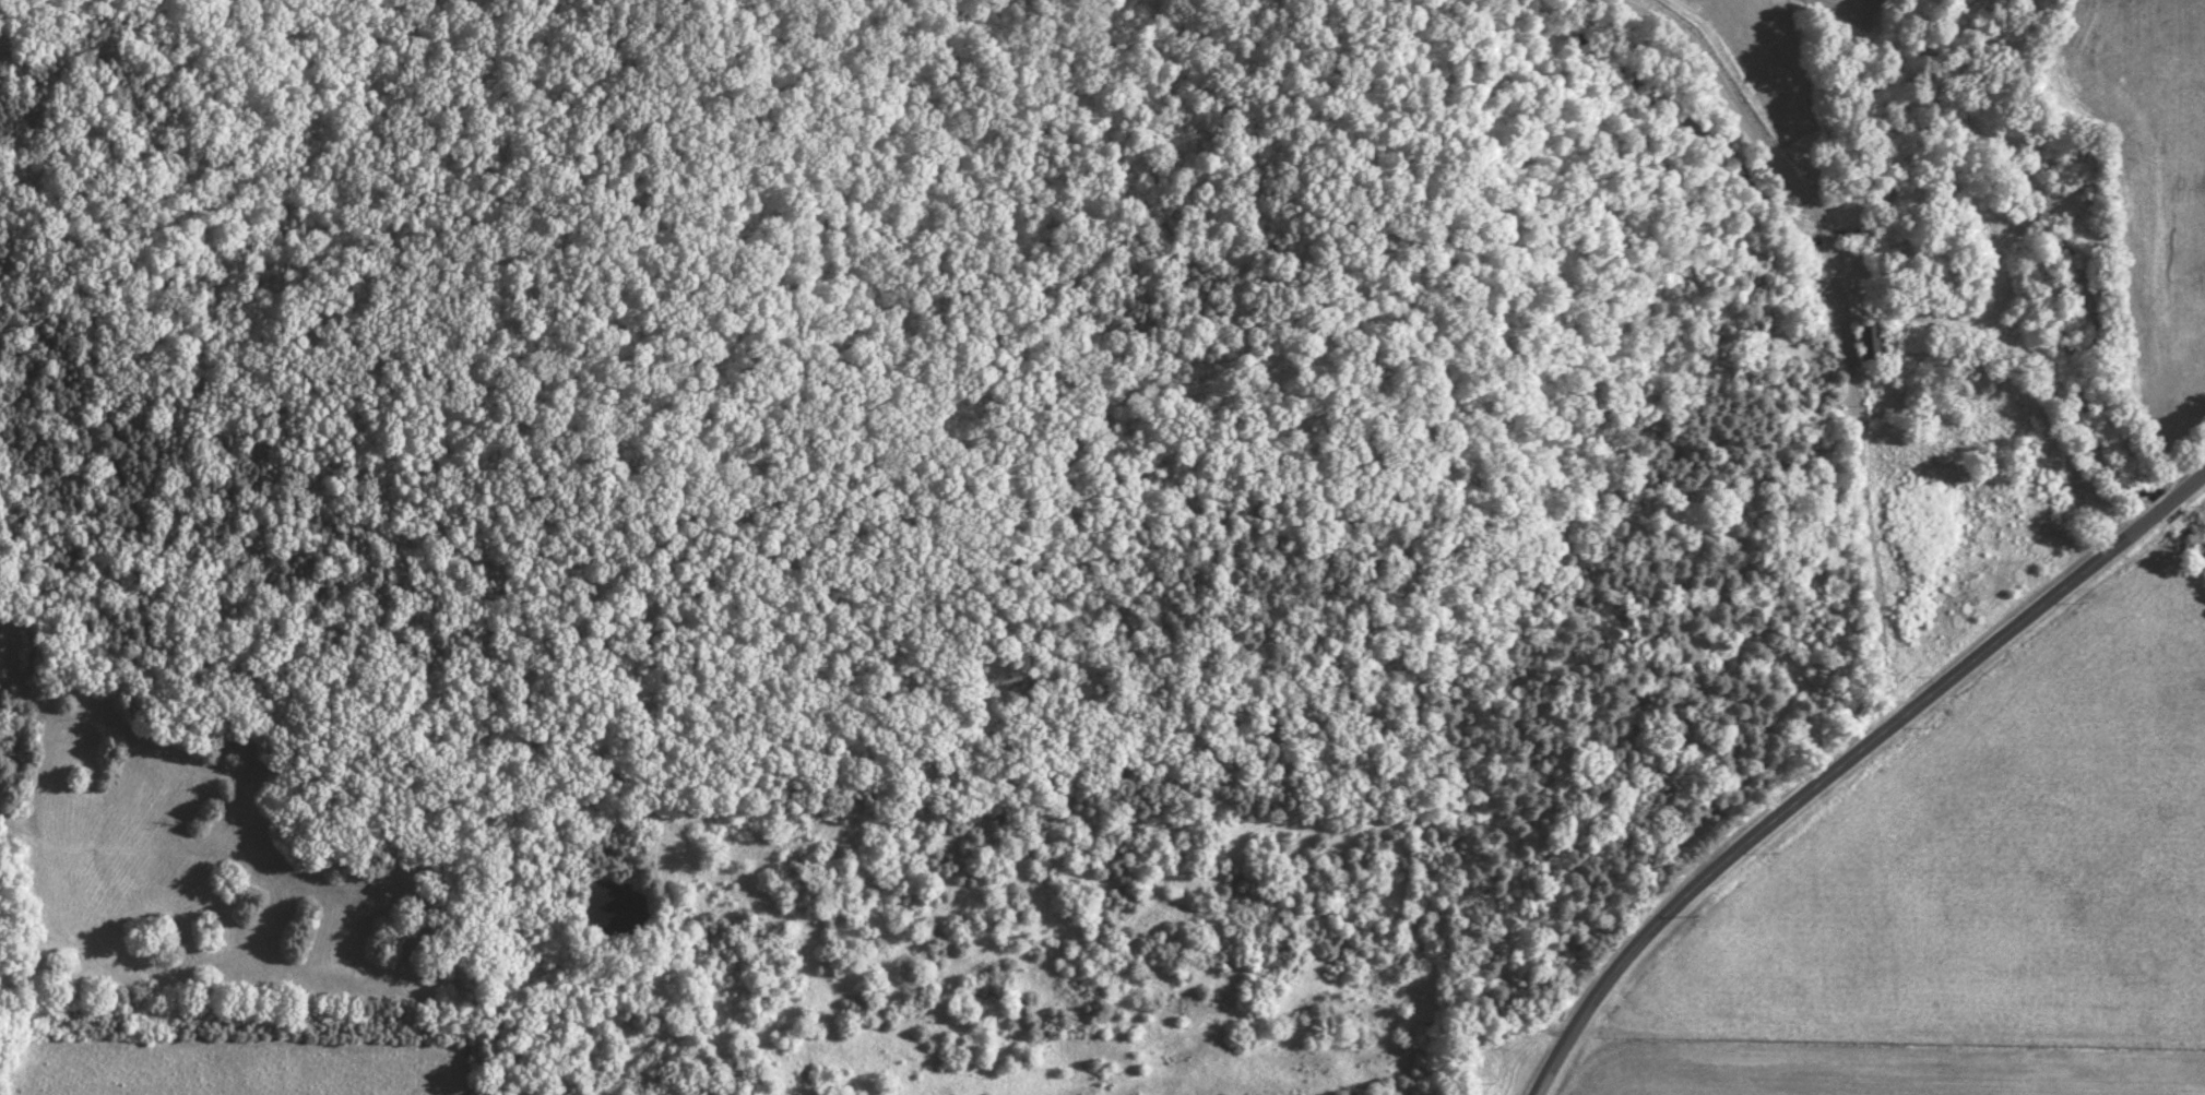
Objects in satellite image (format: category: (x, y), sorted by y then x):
road: (1846, 323)
building: (1872, 341)
road: (1847, 763)

